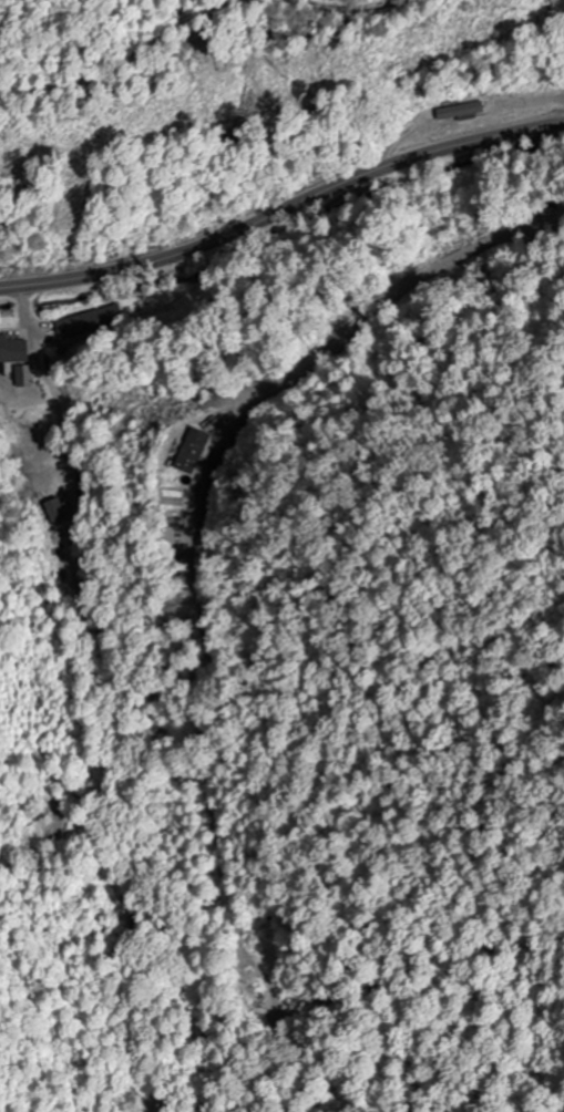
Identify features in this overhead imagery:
building: (458, 112)
road: (283, 210)
building: (71, 328)
building: (13, 349)
building: (24, 374)
building: (194, 450)
building: (54, 512)

